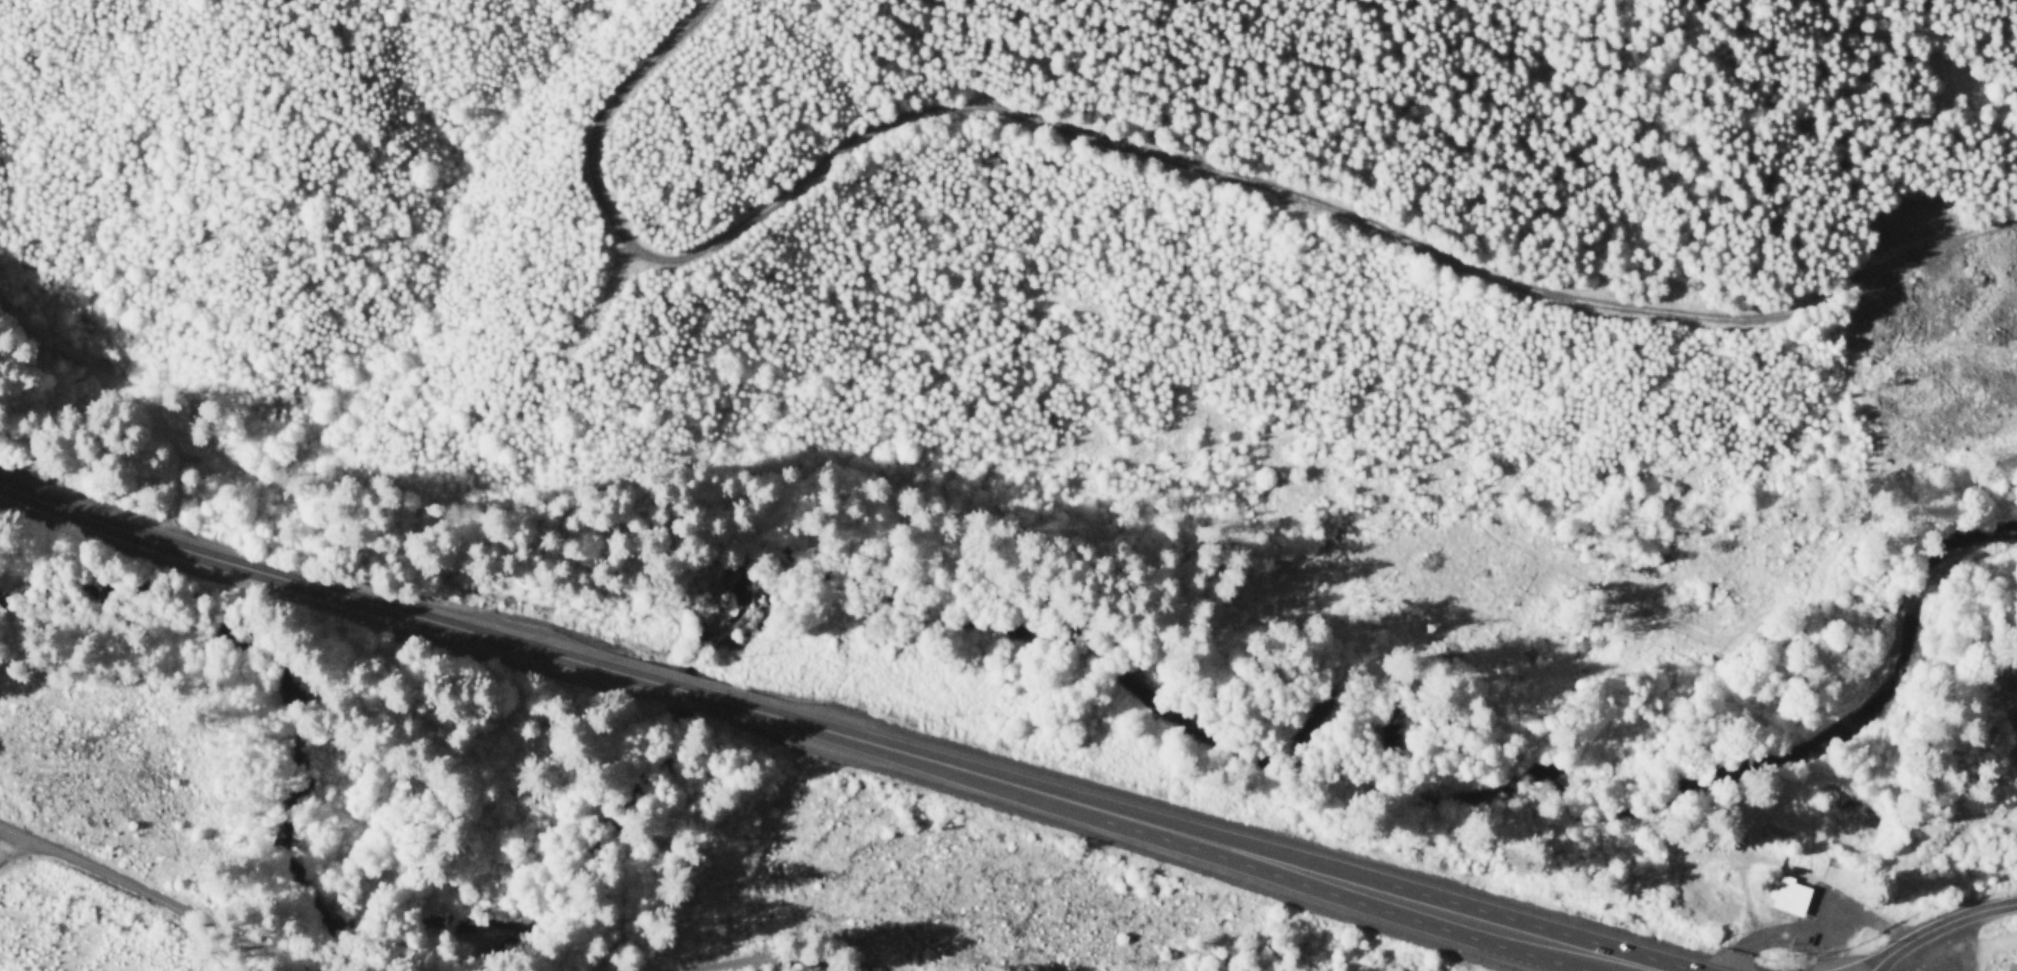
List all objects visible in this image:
road: (1168, 156)
road: (610, 283)
road: (308, 582)
road: (681, 689)
road: (924, 758)
road: (11, 841)
road: (1247, 851)
road: (164, 894)
building: (1791, 895)
road: (1473, 917)
parking lot: (1828, 921)
road: (1945, 921)
road: (1809, 922)
road: (778, 955)
road: (1573, 956)
road: (1609, 956)
road: (1875, 963)
road: (1859, 964)
building: (2013, 966)

